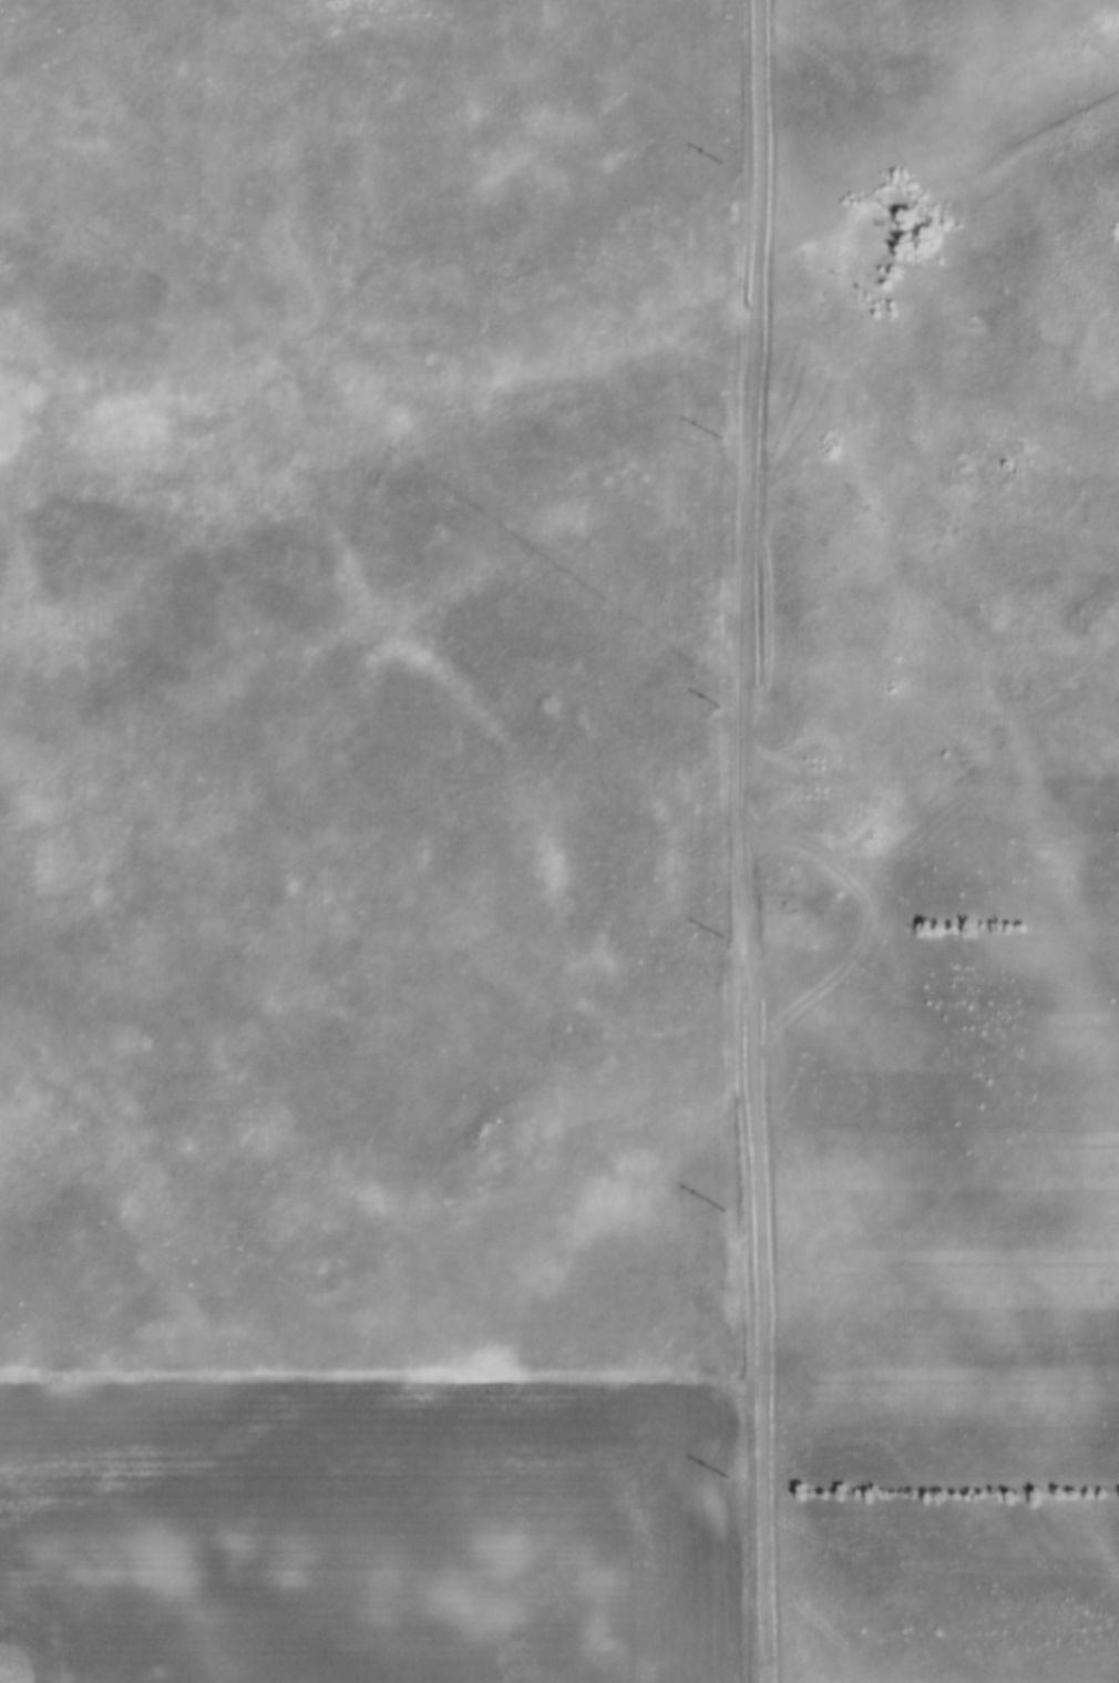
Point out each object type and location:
road: (739, 841)

